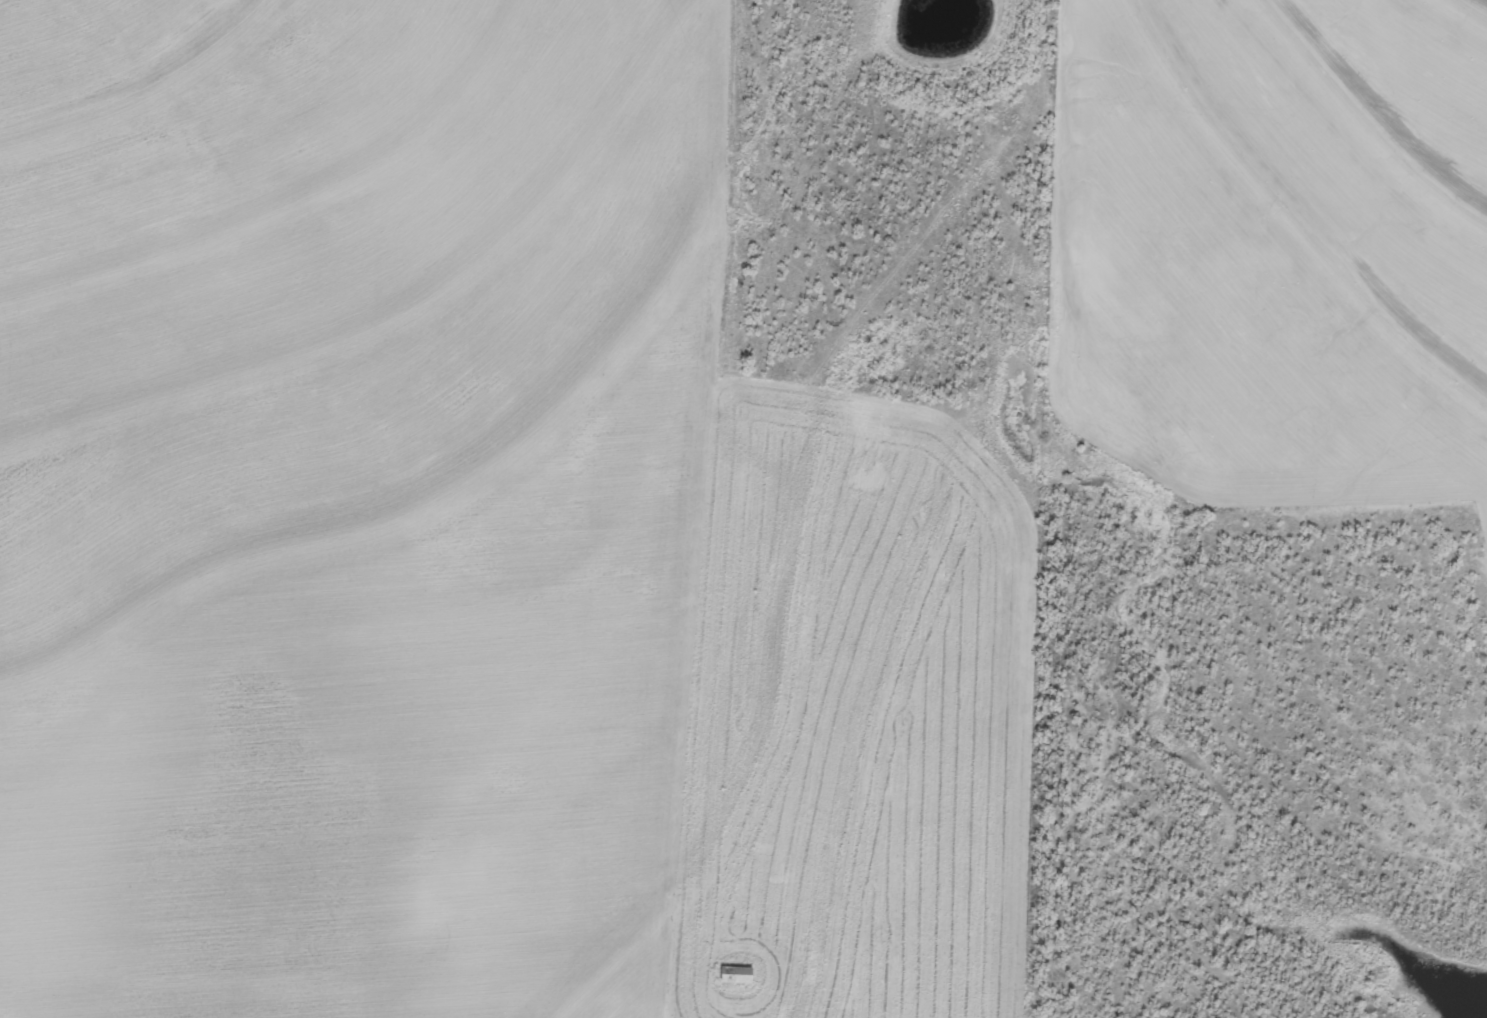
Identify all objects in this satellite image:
building: (736, 975)
road: (153, 990)

